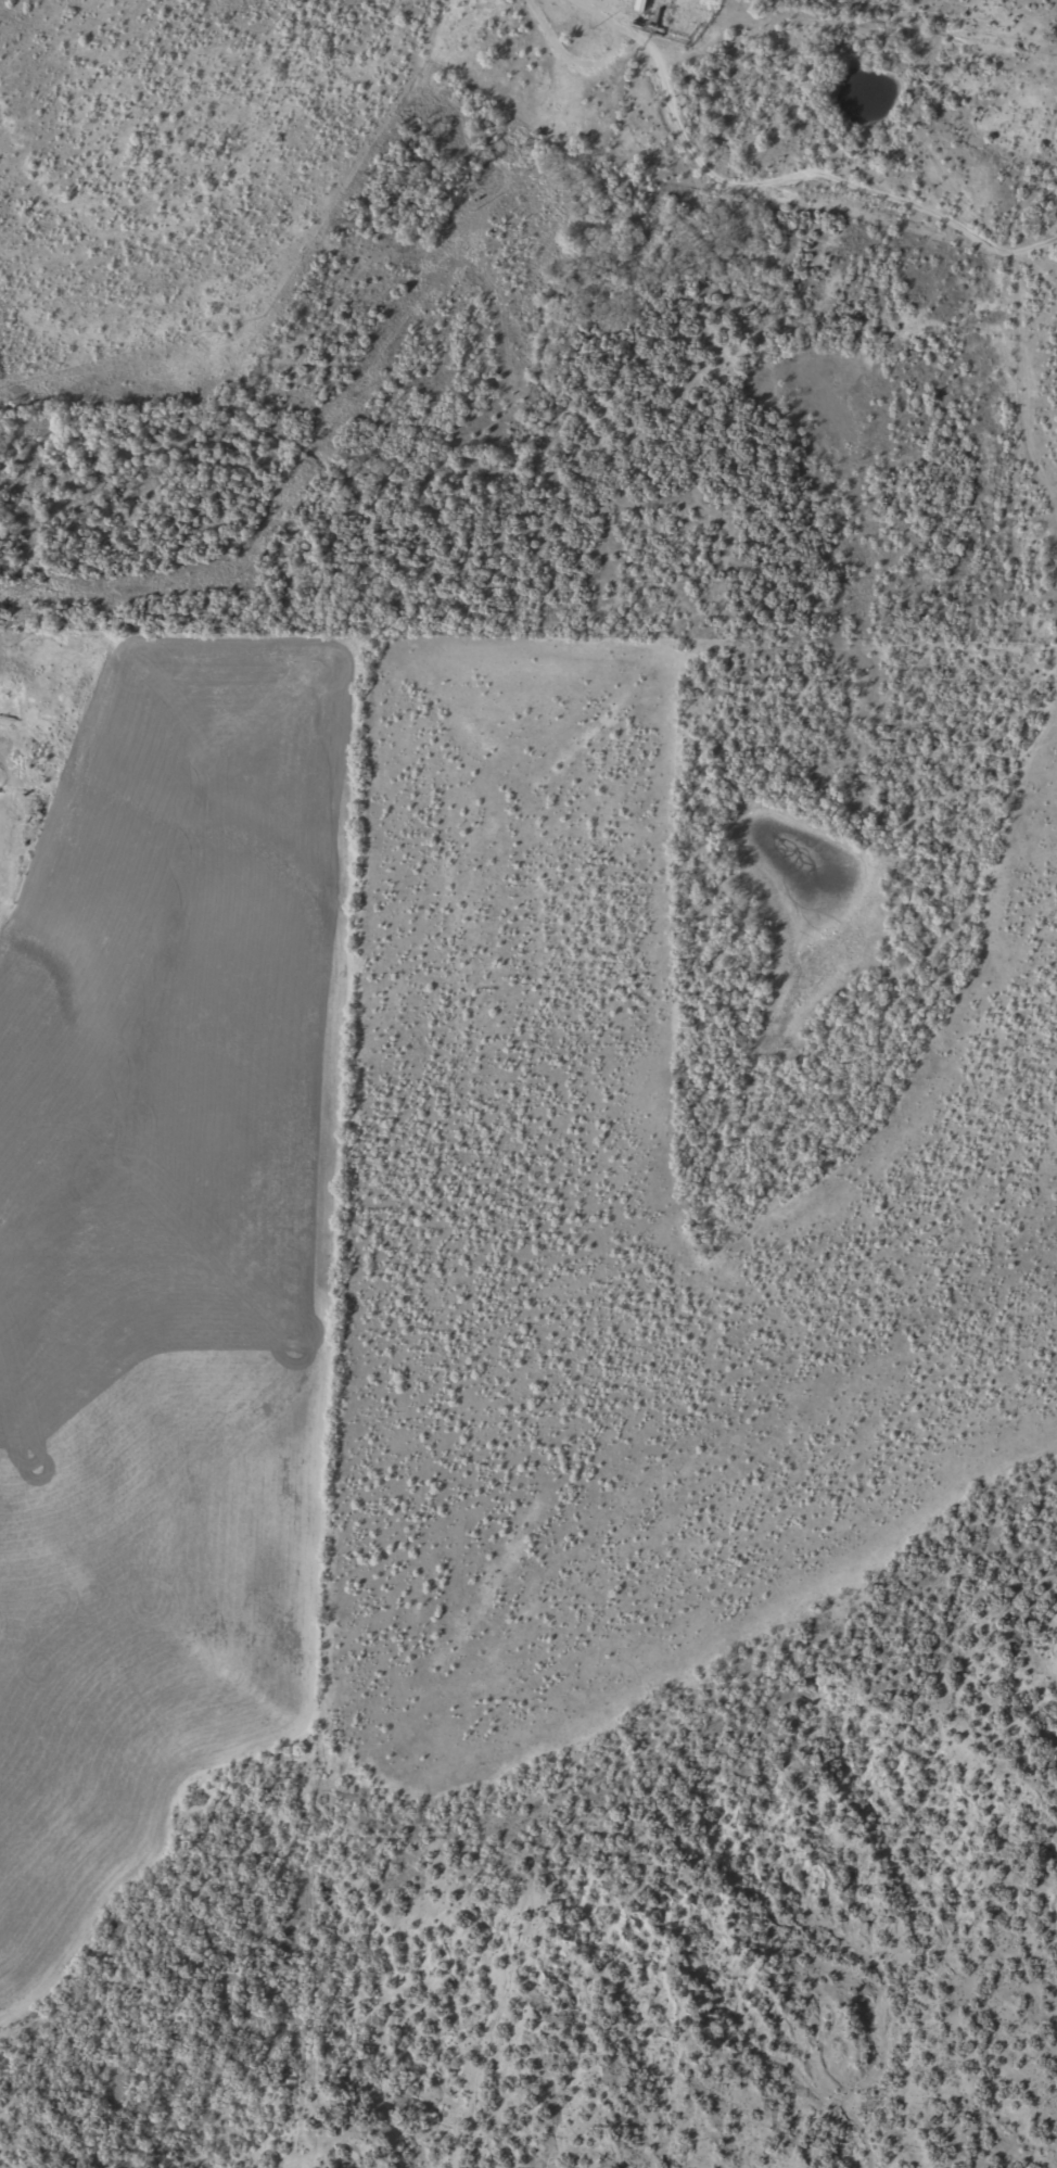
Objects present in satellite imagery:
road: (560, 7)
road: (573, 7)
road: (922, 241)

